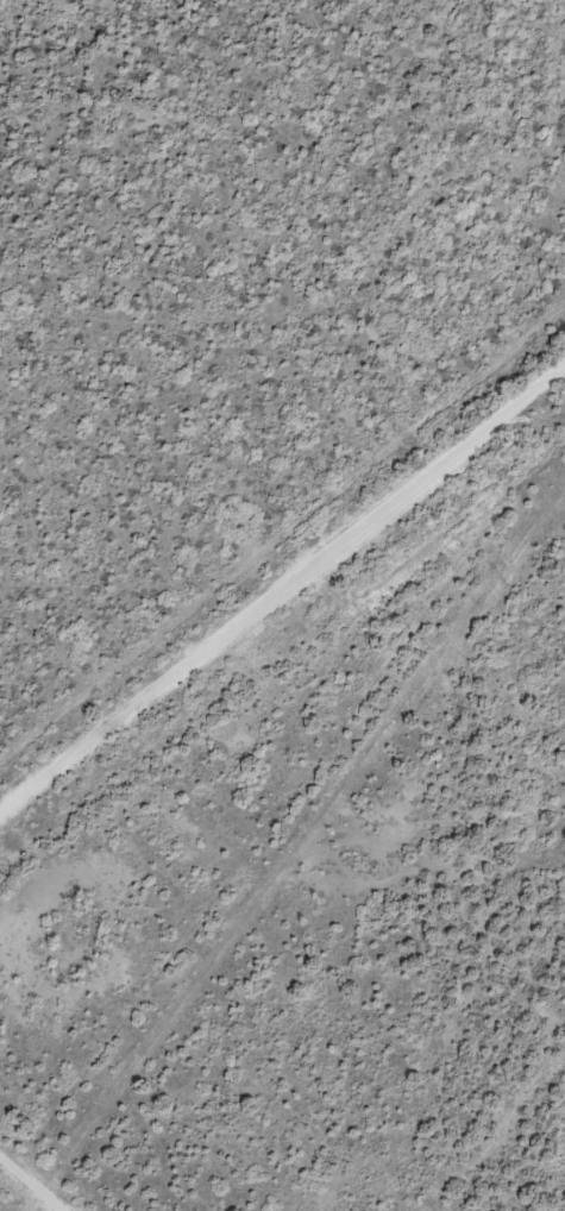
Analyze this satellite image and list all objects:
road: (282, 581)

